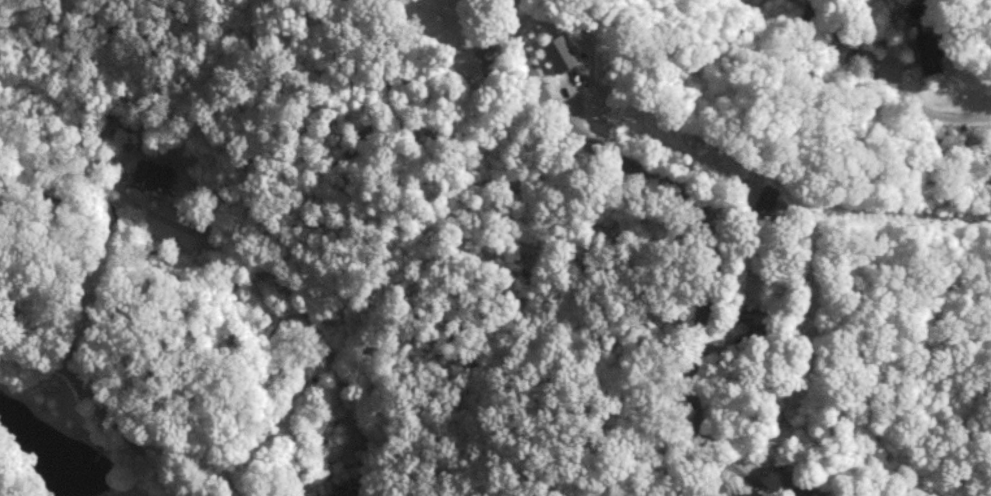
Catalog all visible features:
road: (977, 19)
building: (927, 51)
building: (561, 52)
road: (928, 112)
road: (582, 140)
road: (127, 157)
building: (153, 172)
building: (773, 202)
road: (332, 350)
road: (693, 366)
road: (89, 395)
building: (797, 483)
building: (342, 493)

